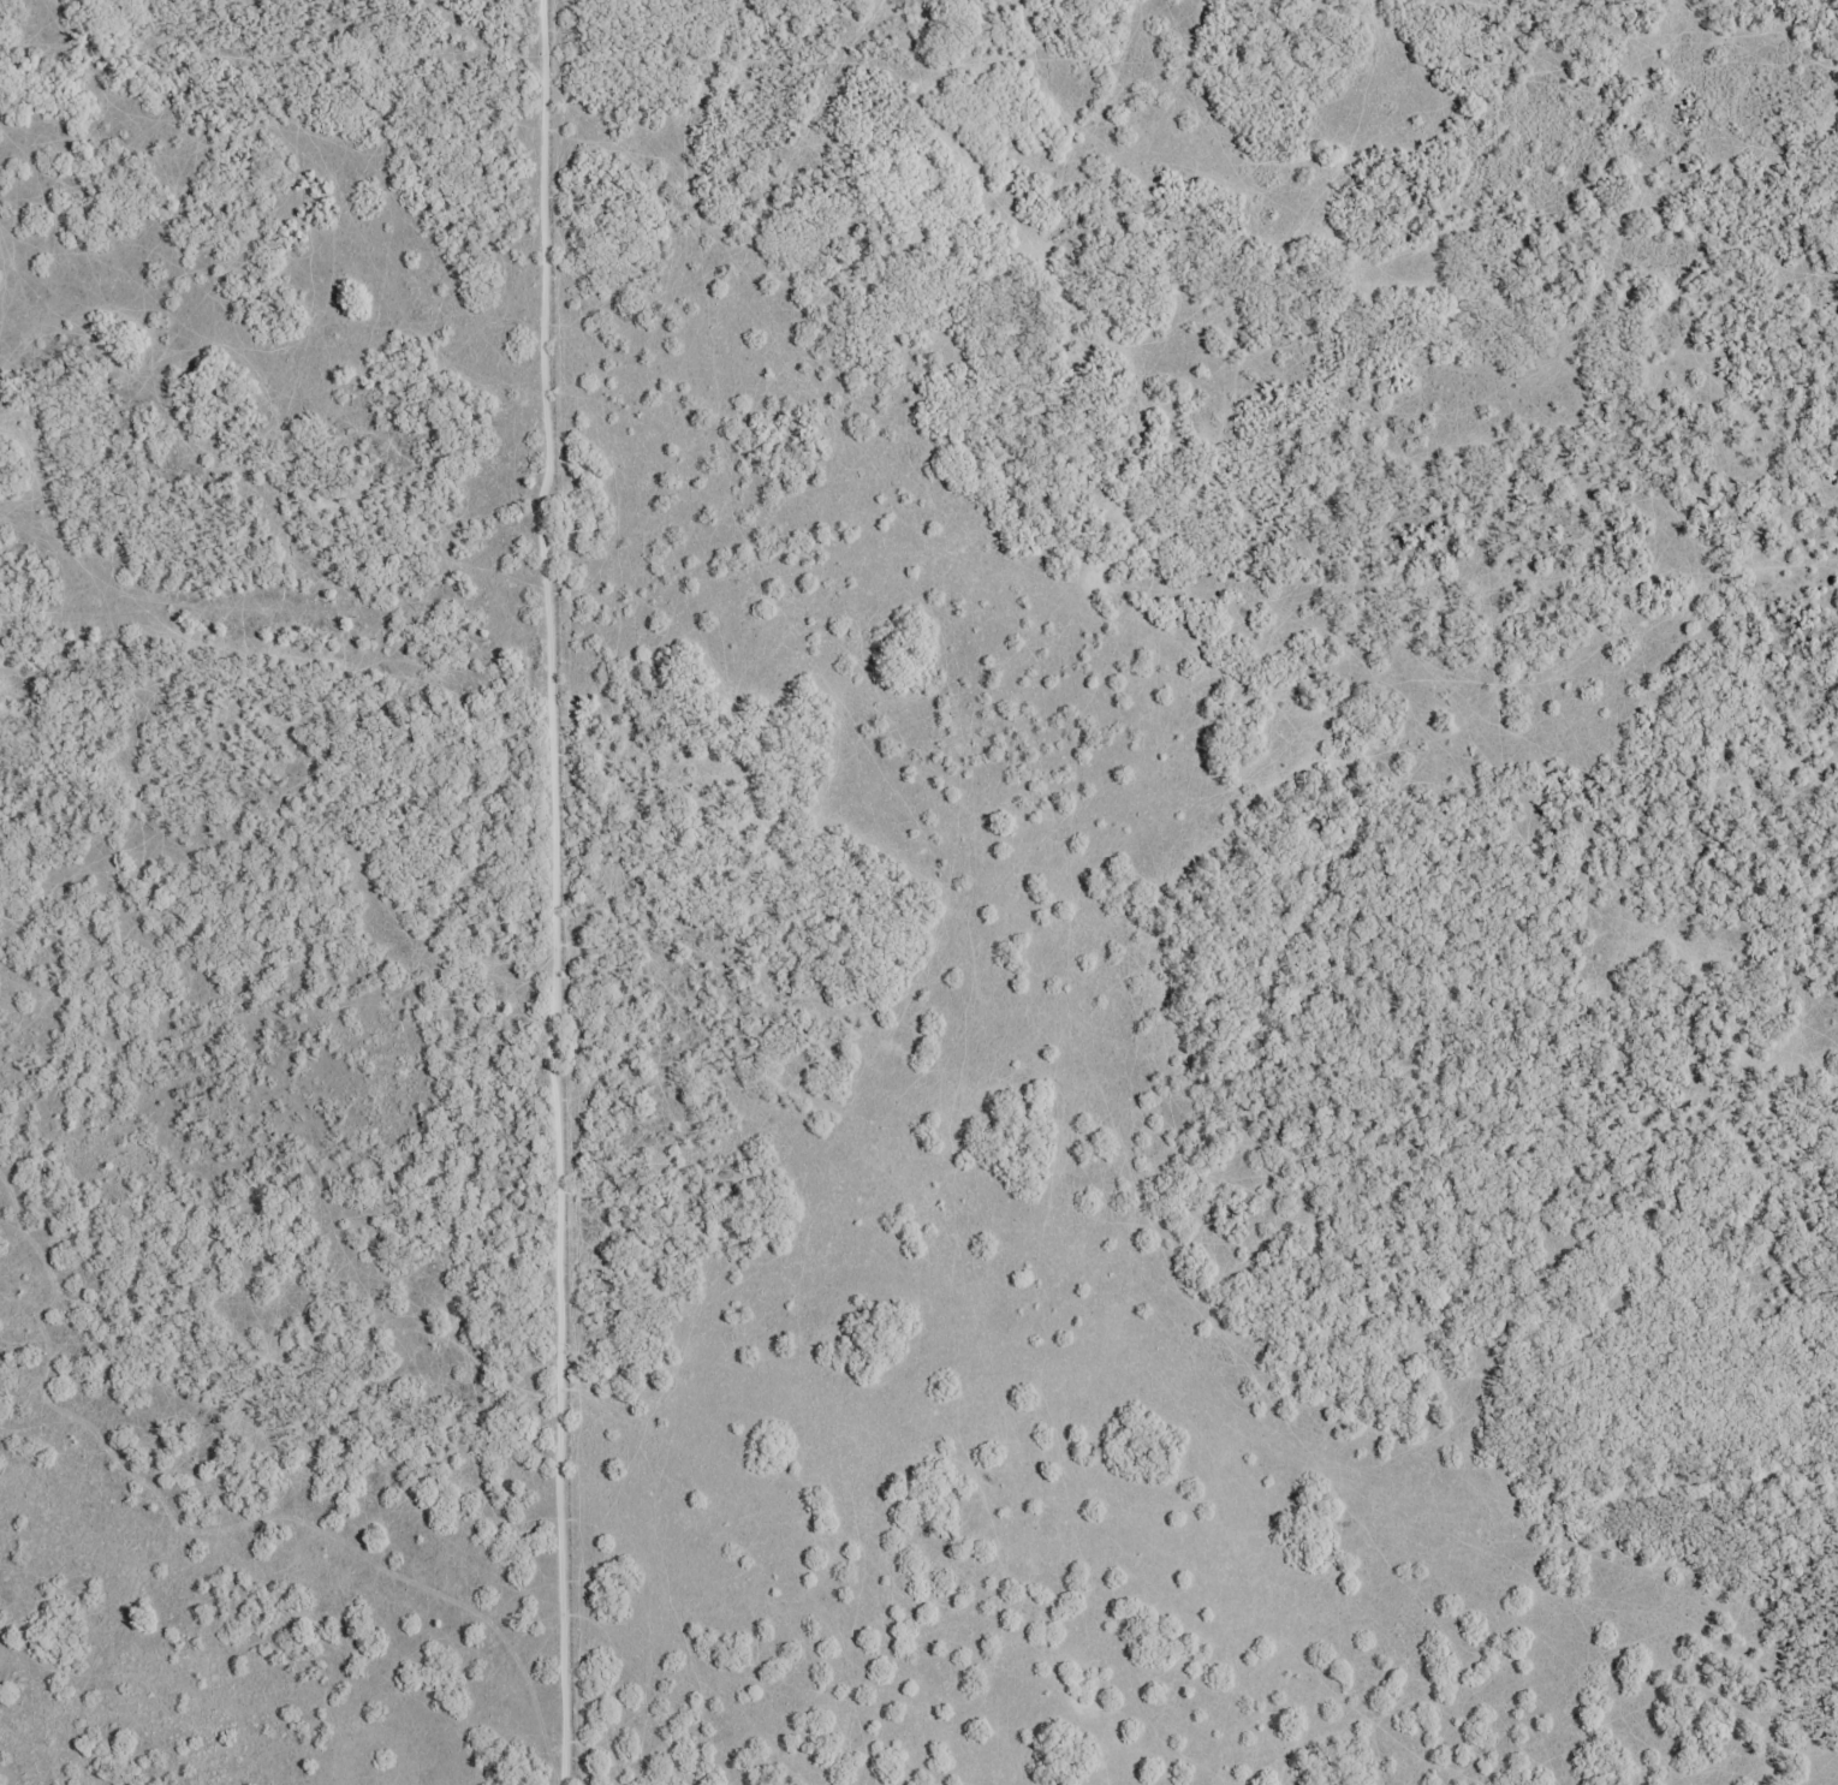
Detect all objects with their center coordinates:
road: (1492, 1527)

